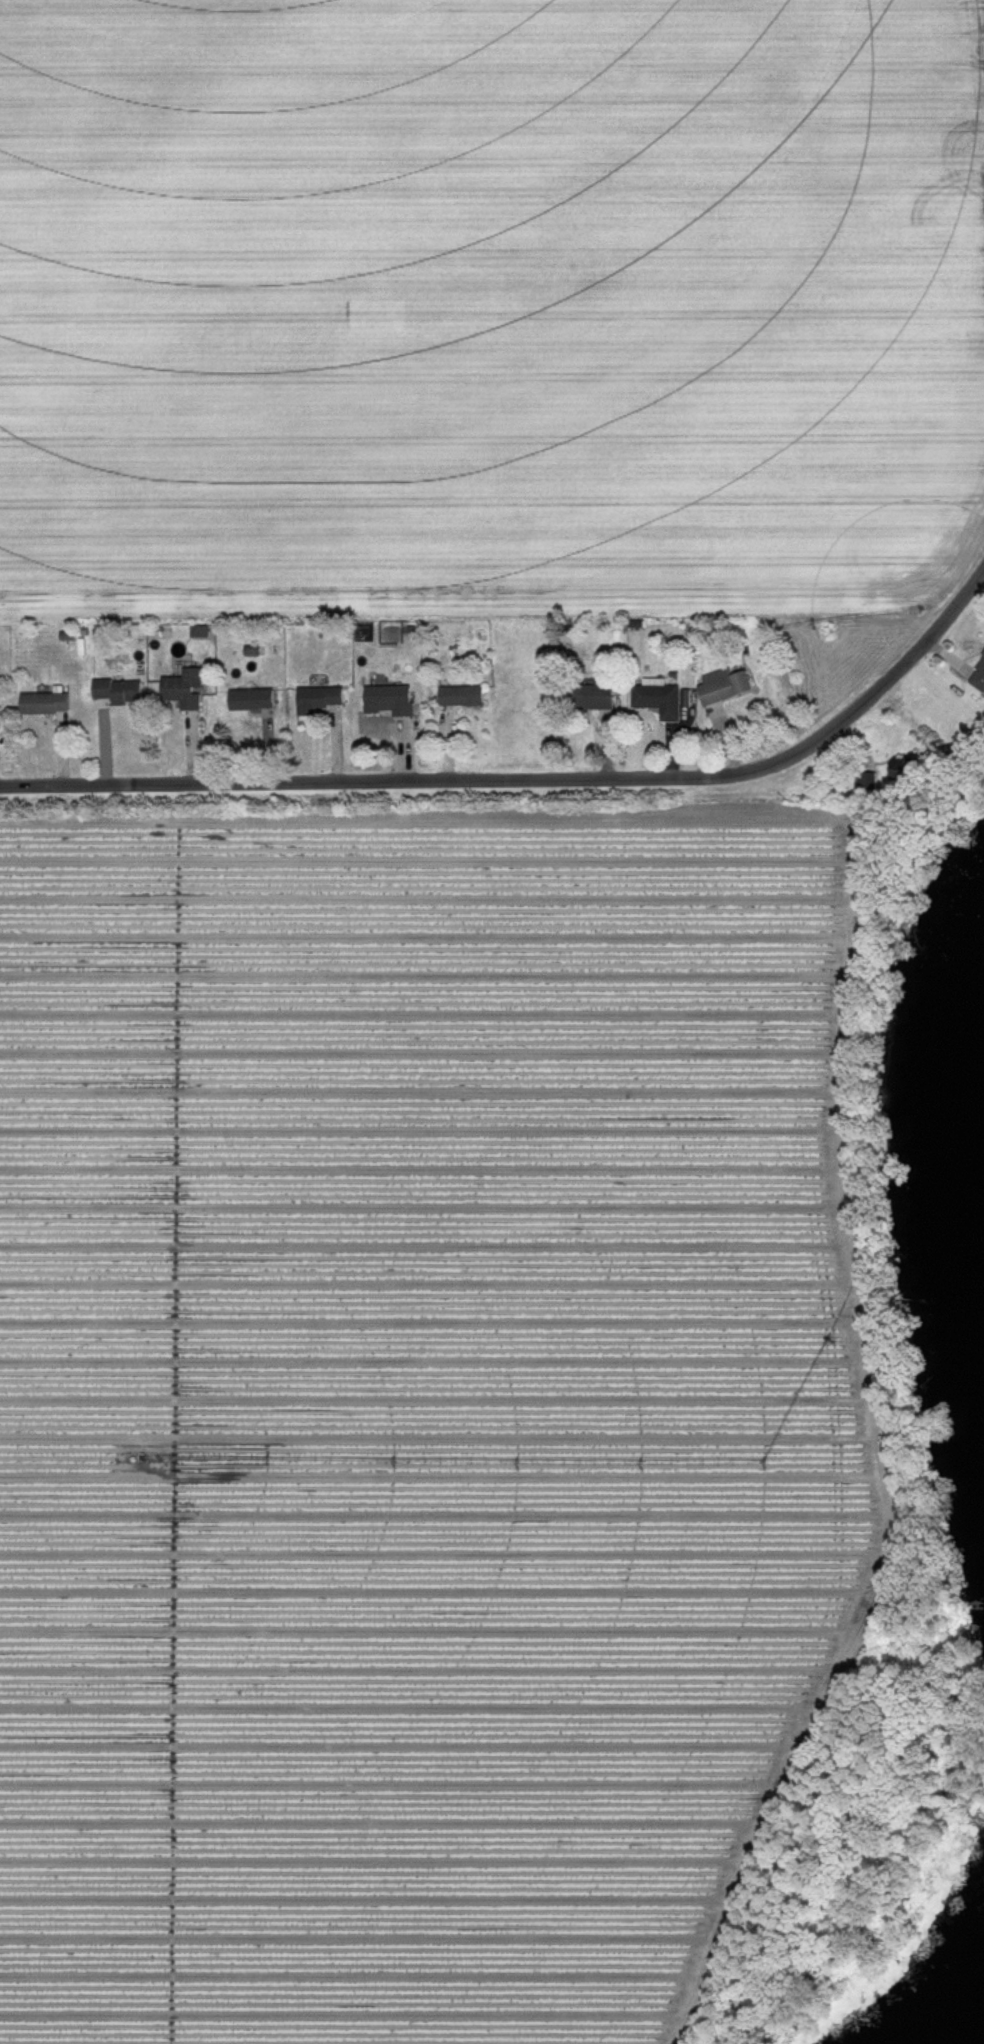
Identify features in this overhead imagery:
crop: (488, 300)
building: (976, 676)
building: (719, 686)
building: (184, 691)
building: (121, 692)
building: (456, 697)
building: (585, 697)
building: (320, 699)
building: (253, 700)
building: (653, 700)
building: (384, 701)
building: (47, 705)
building: (0, 706)
road: (532, 779)
building: (863, 783)

